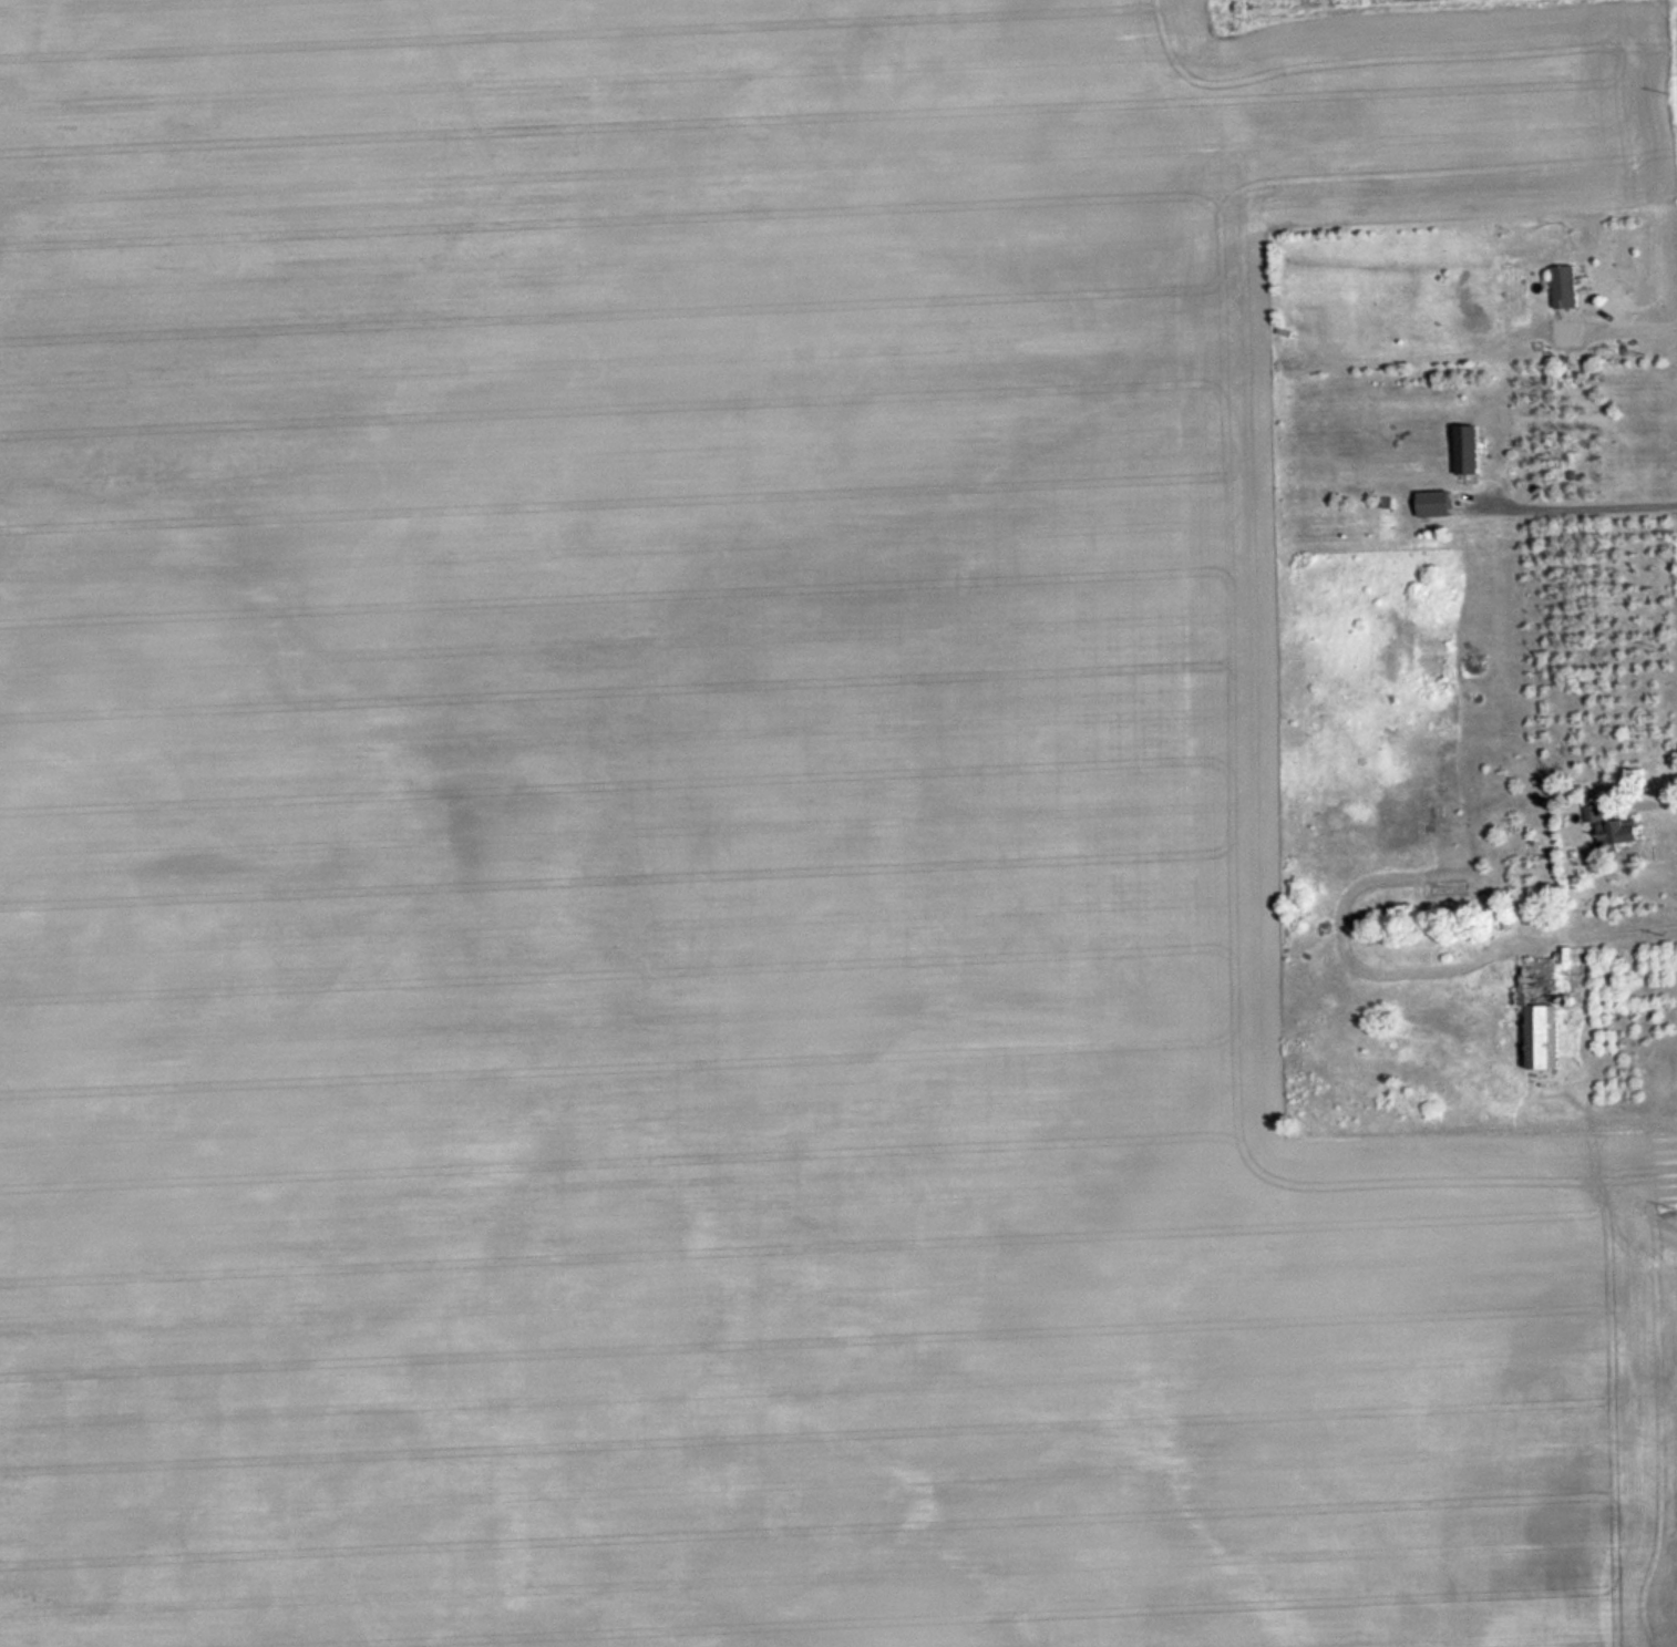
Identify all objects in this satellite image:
building: (1561, 286)
building: (1463, 450)
building: (1429, 504)
building: (1613, 830)
building: (1536, 1011)

